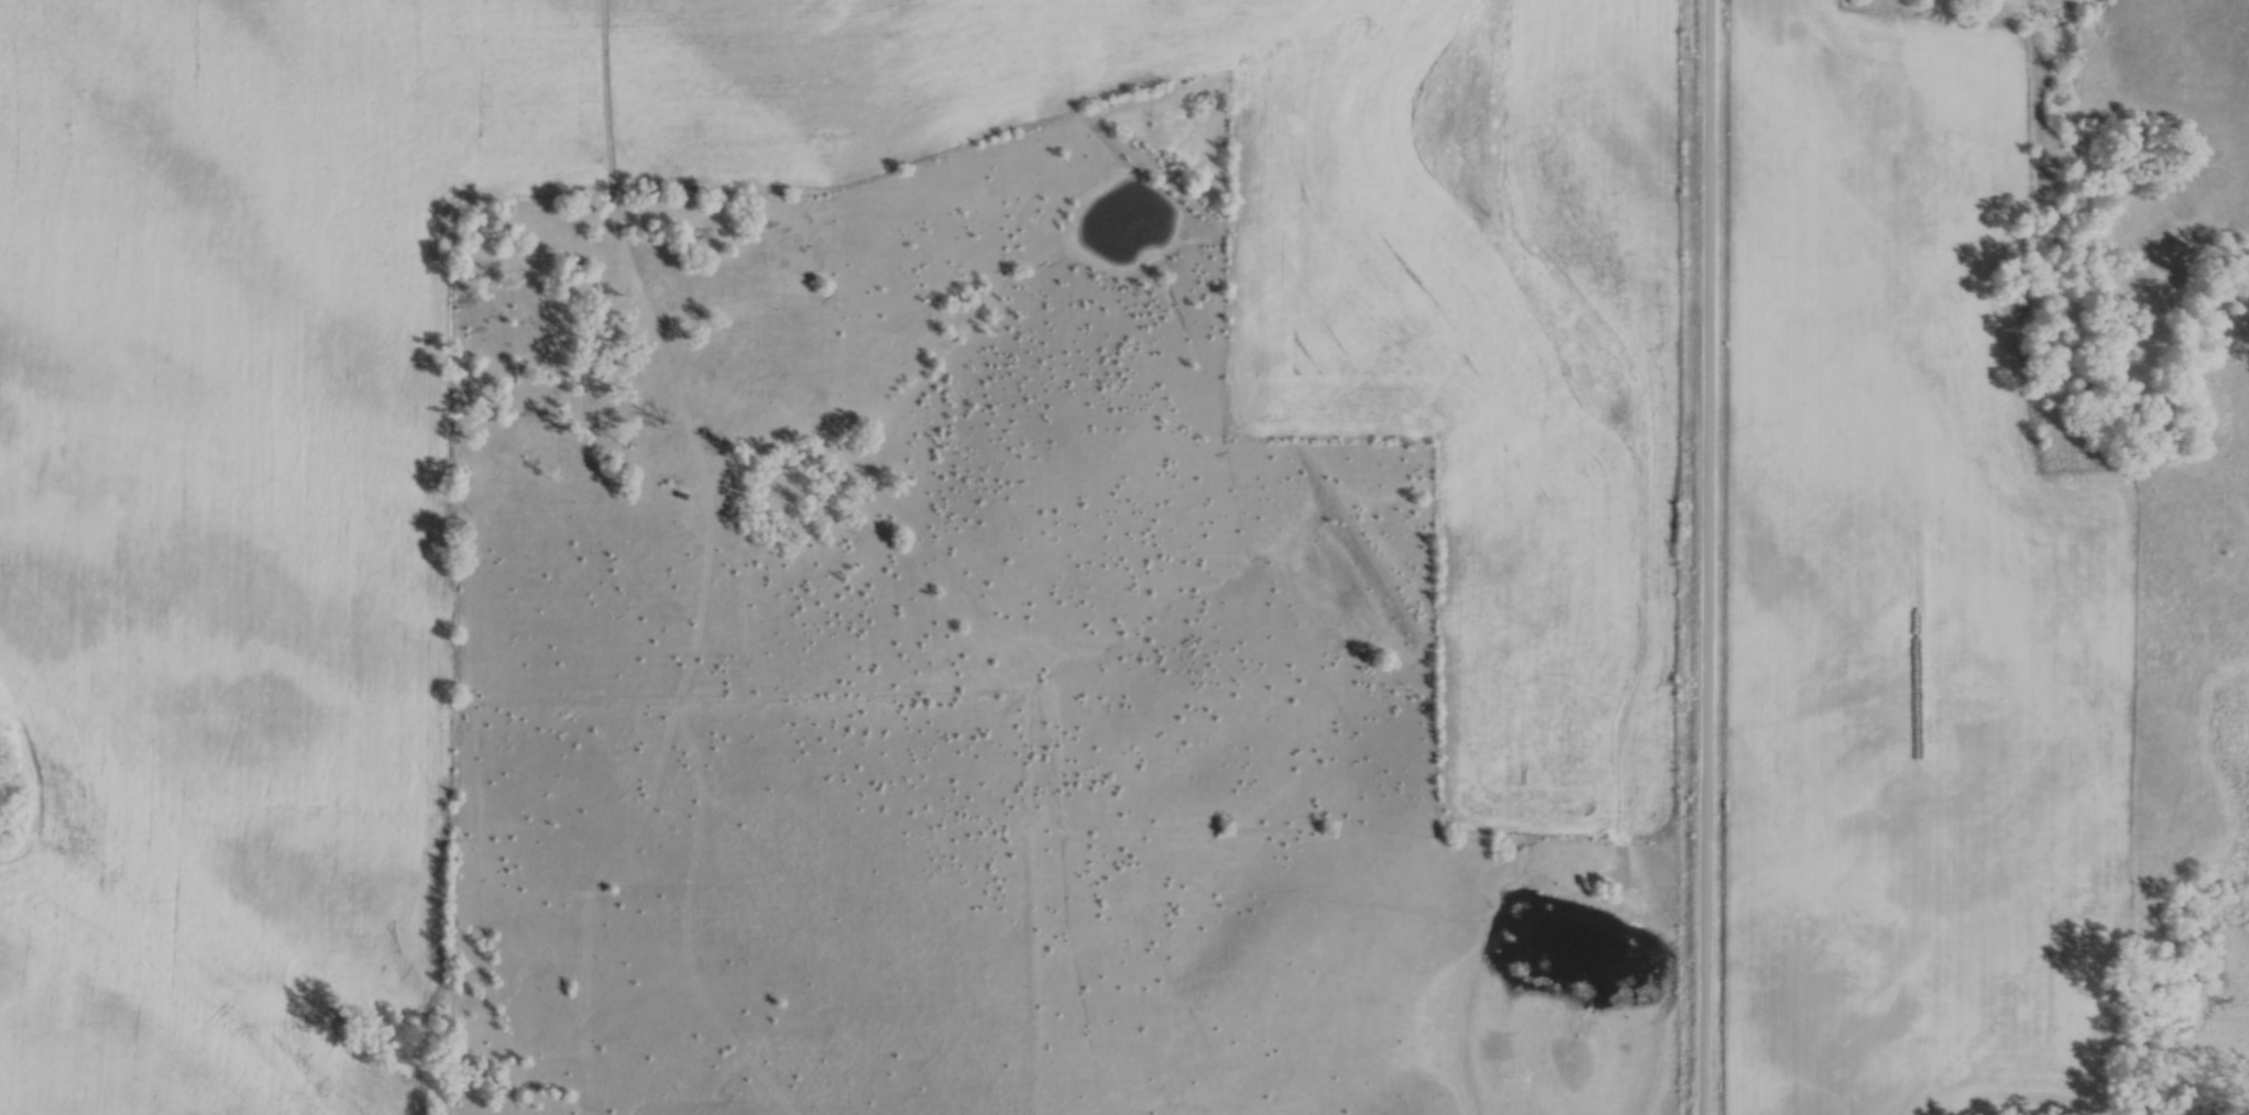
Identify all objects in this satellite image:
road: (1707, 557)

